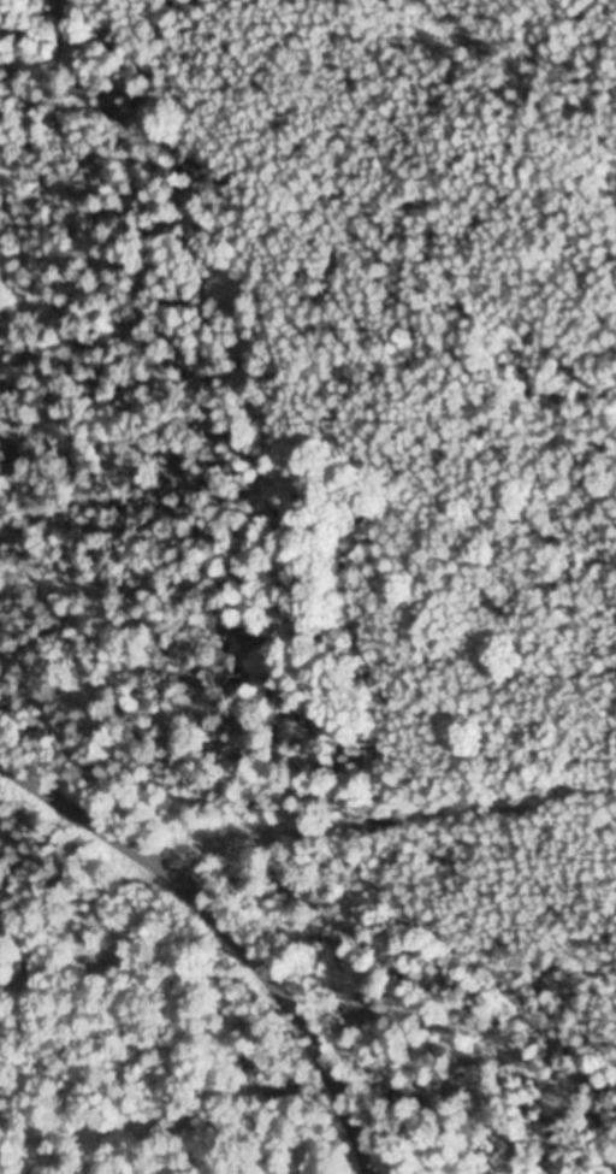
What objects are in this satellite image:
road: (284, 833)
road: (220, 932)

